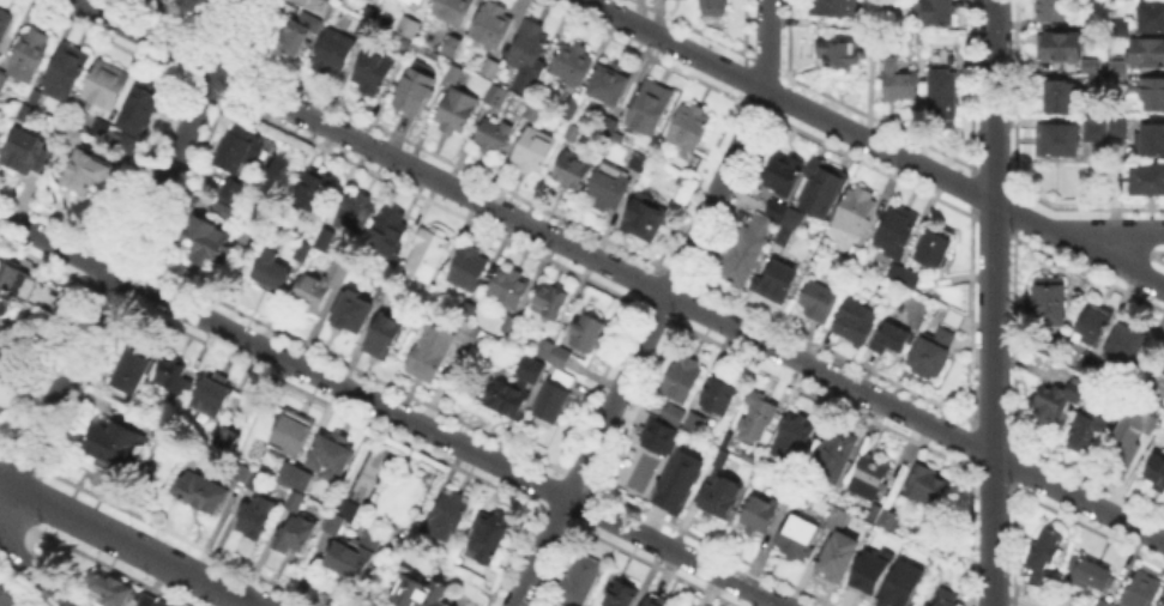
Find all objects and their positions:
building: (1122, 0)
building: (415, 4)
building: (197, 5)
building: (716, 5)
building: (834, 7)
building: (1054, 10)
building: (451, 11)
building: (936, 12)
building: (1153, 20)
building: (1096, 22)
building: (367, 23)
building: (5, 25)
building: (491, 26)
building: (409, 29)
building: (1123, 31)
building: (296, 35)
building: (452, 47)
building: (1059, 48)
building: (336, 50)
building: (1147, 53)
building: (530, 55)
building: (840, 55)
building: (30, 56)
building: (573, 63)
building: (1100, 65)
building: (1087, 66)
building: (490, 69)
building: (374, 72)
building: (67, 73)
building: (1117, 73)
building: (454, 74)
building: (1081, 78)
building: (2, 79)
building: (1097, 80)
building: (900, 83)
building: (943, 83)
building: (610, 84)
building: (105, 87)
building: (414, 91)
building: (32, 96)
building: (497, 96)
building: (1153, 96)
building: (1059, 97)
building: (569, 104)
building: (649, 107)
building: (529, 109)
building: (456, 110)
building: (24, 111)
building: (138, 115)
building: (103, 127)
building: (607, 128)
building: (567, 129)
building: (690, 129)
building: (1082, 135)
building: (493, 138)
building: (1152, 141)
road: (875, 143)
building: (237, 150)
building: (22, 152)
building: (535, 153)
building: (637, 162)
building: (86, 164)
building: (573, 172)
building: (783, 172)
building: (1148, 181)
building: (609, 188)
building: (229, 190)
building: (825, 192)
building: (315, 193)
building: (221, 207)
building: (774, 208)
building: (639, 211)
building: (856, 212)
building: (358, 213)
building: (796, 218)
building: (390, 228)
building: (895, 232)
building: (326, 234)
road: (1129, 237)
building: (783, 238)
building: (210, 243)
road: (127, 244)
building: (746, 248)
building: (936, 248)
building: (303, 252)
building: (430, 253)
building: (469, 267)
road: (616, 271)
building: (891, 272)
building: (273, 273)
building: (910, 278)
building: (776, 284)
building: (321, 289)
building: (509, 289)
building: (429, 295)
building: (13, 298)
building: (818, 301)
building: (1050, 301)
building: (550, 302)
road: (991, 302)
road: (658, 308)
building: (465, 311)
building: (354, 313)
building: (955, 317)
building: (857, 323)
building: (1093, 323)
building: (511, 326)
building: (590, 331)
building: (470, 337)
building: (385, 338)
building: (892, 339)
building: (542, 347)
building: (1128, 347)
building: (429, 353)
building: (935, 353)
building: (560, 356)
building: (1085, 363)
building: (532, 370)
building: (135, 371)
building: (174, 378)
building: (682, 378)
building: (1152, 382)
building: (1163, 384)
building: (716, 393)
building: (211, 396)
building: (555, 398)
building: (506, 399)
building: (1055, 400)
road: (392, 412)
building: (670, 412)
building: (758, 418)
building: (690, 420)
building: (1088, 430)
building: (1130, 430)
building: (158, 434)
building: (292, 435)
building: (656, 435)
building: (228, 438)
building: (791, 443)
building: (114, 447)
building: (331, 456)
building: (832, 456)
building: (1156, 469)
building: (241, 471)
building: (868, 477)
building: (295, 479)
building: (675, 481)
building: (929, 485)
building: (201, 492)
building: (720, 497)
building: (294, 502)
building: (258, 509)
building: (874, 510)
building: (760, 513)
building: (448, 515)
building: (837, 519)
building: (892, 521)
building: (332, 525)
building: (298, 533)
building: (489, 534)
building: (800, 537)
road: (126, 544)
building: (417, 546)
road: (22, 555)
building: (836, 556)
building: (357, 559)
building: (1044, 560)
building: (868, 569)
building: (1091, 576)
building: (581, 581)
building: (898, 583)
building: (1141, 590)
building: (421, 592)
building: (110, 593)
building: (625, 595)
building: (7, 596)
building: (947, 598)
building: (146, 602)
building: (161, 602)
building: (656, 602)
building: (1102, 604)

